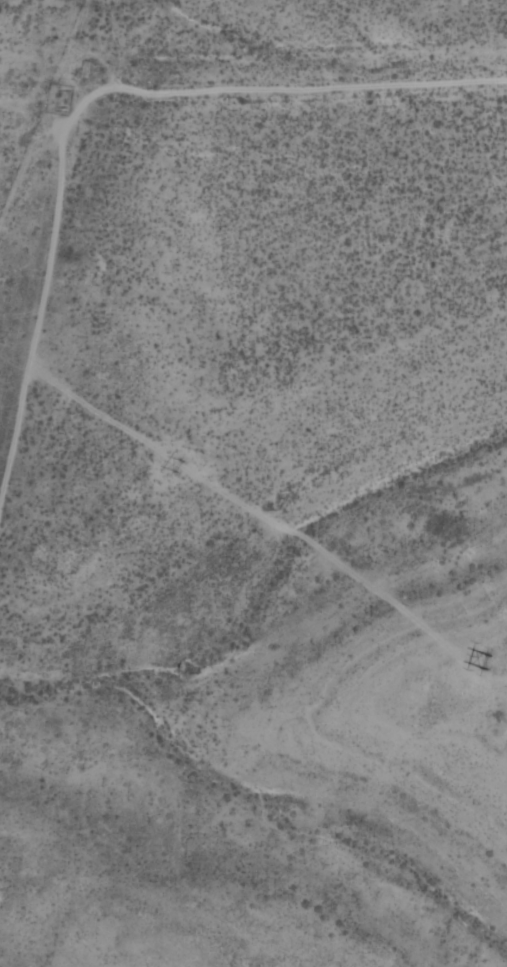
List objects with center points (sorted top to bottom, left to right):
road: (30, 299)
power tower: (180, 466)
power tower: (487, 662)

